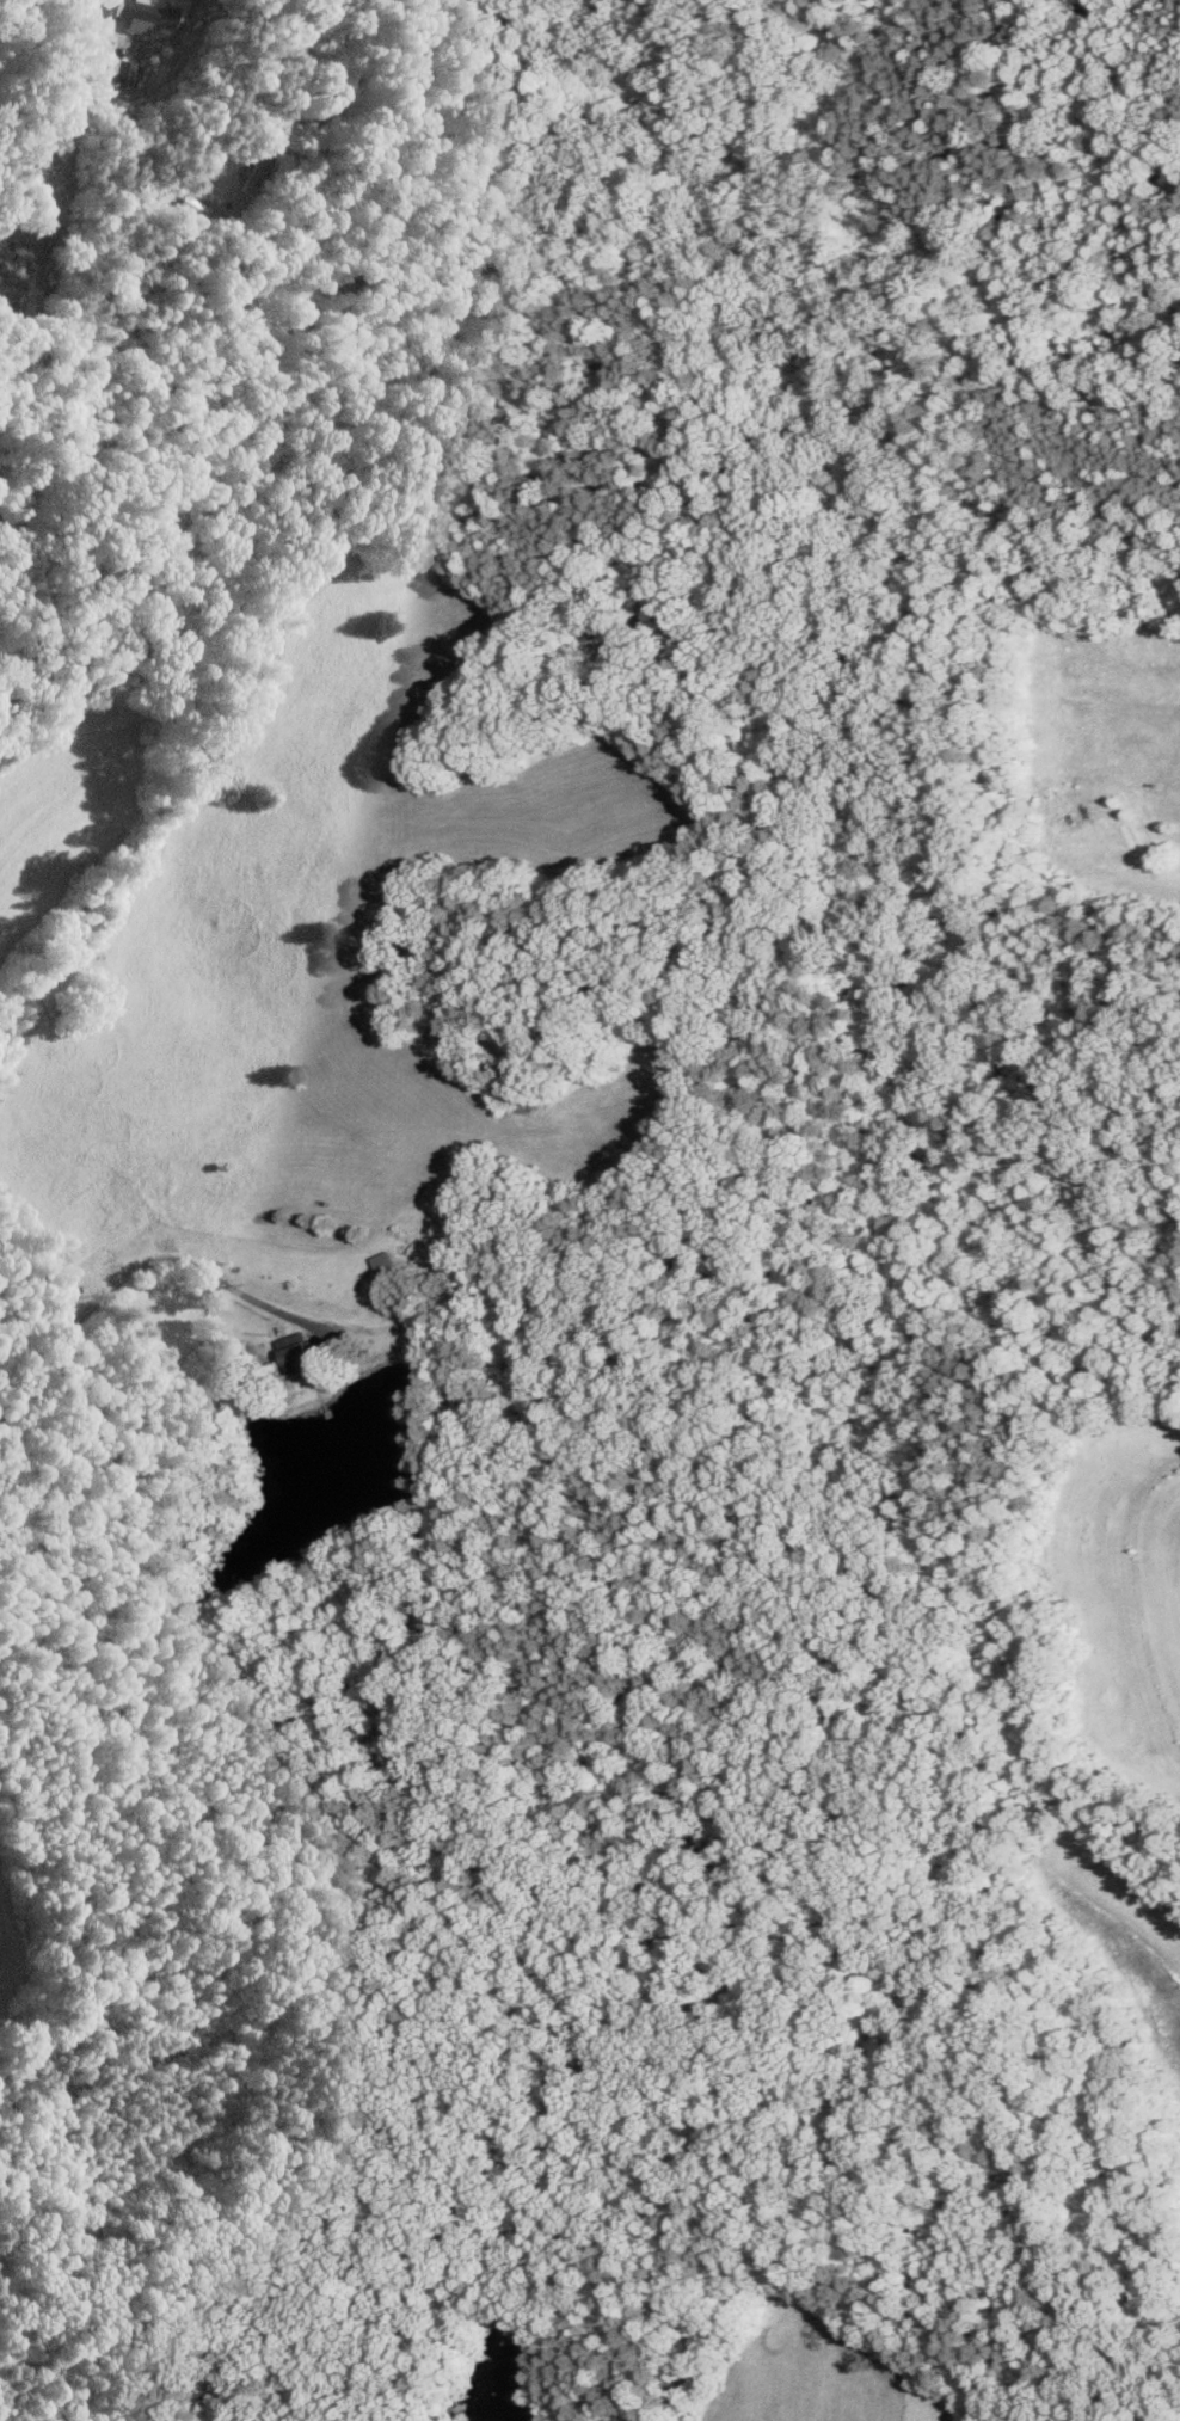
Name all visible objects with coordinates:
building: (145, 14)
road: (183, 27)
building: (113, 72)
road: (287, 98)
road: (117, 1284)
building: (294, 1351)

